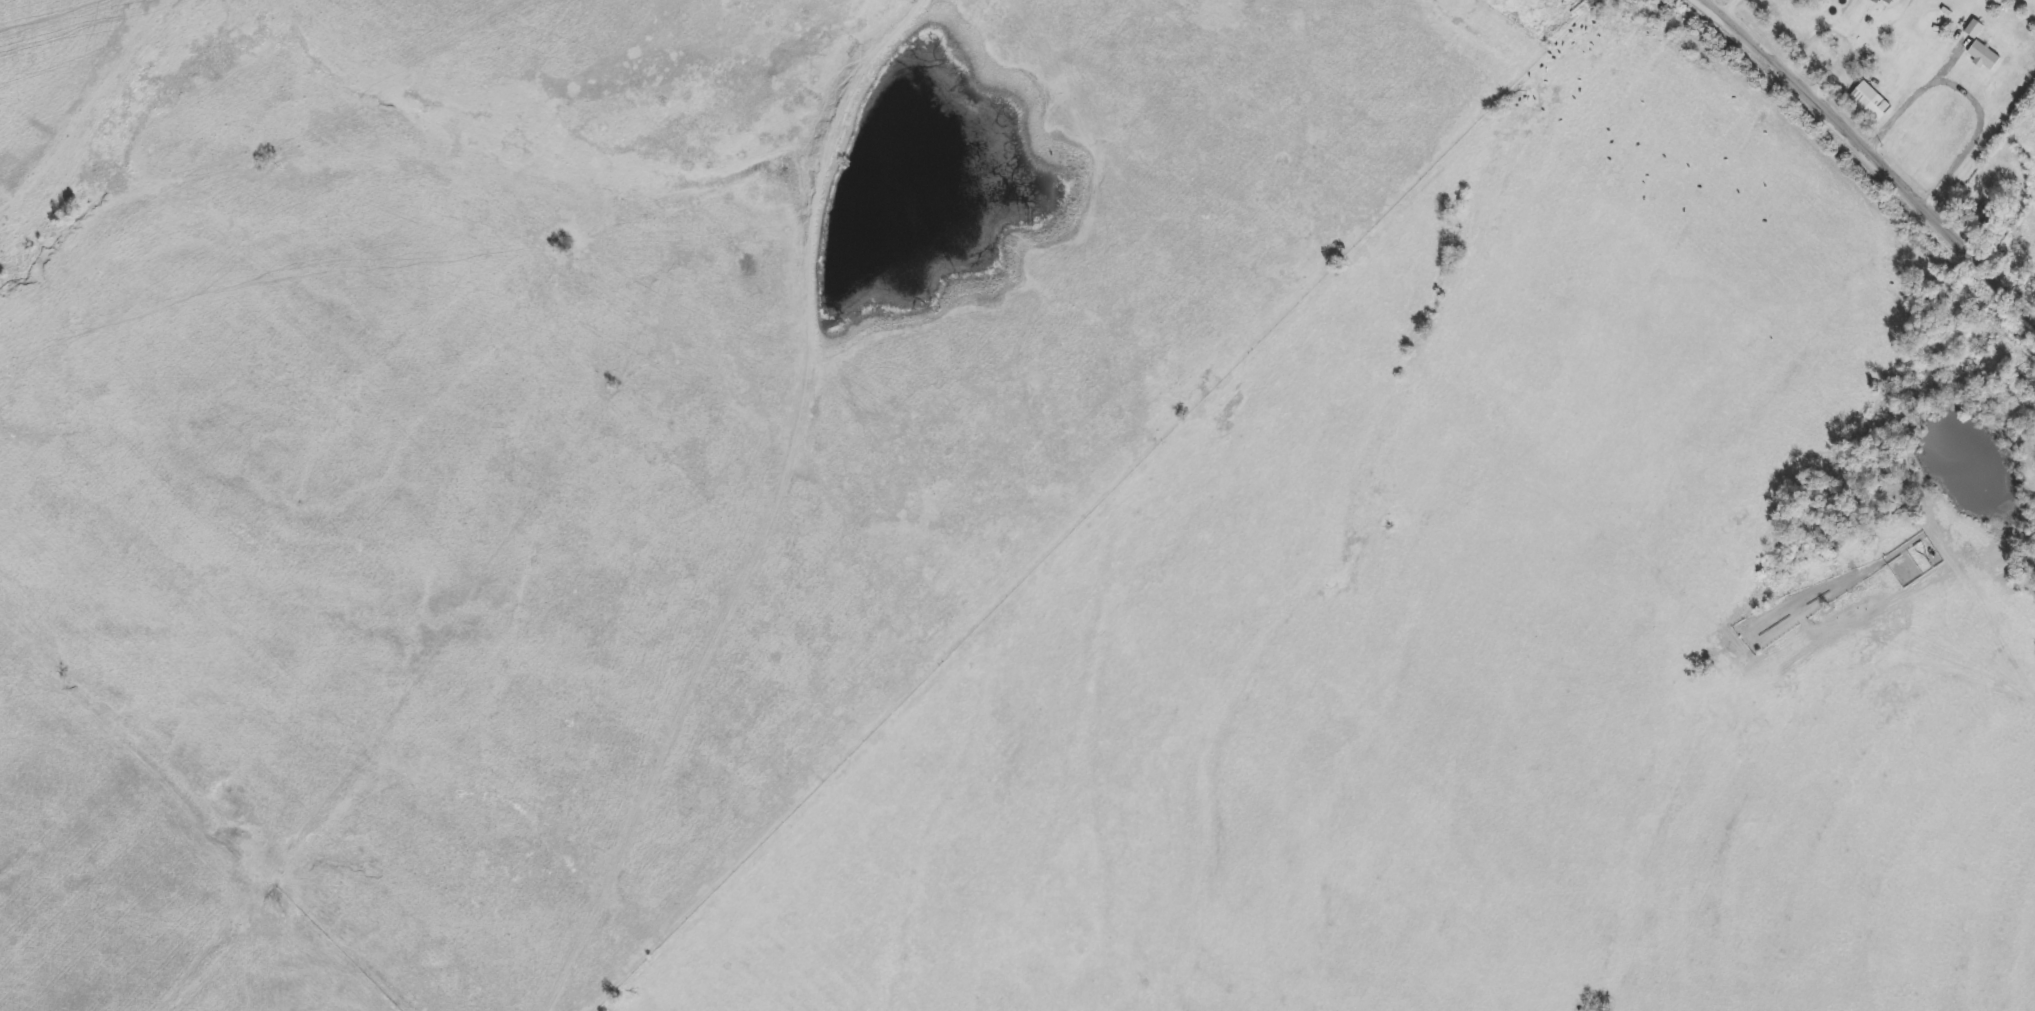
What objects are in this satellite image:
building: (1889, 1)
road: (1707, 3)
road: (1732, 10)
road: (1974, 93)
building: (1872, 101)
road: (1870, 155)
building: (1988, 212)

